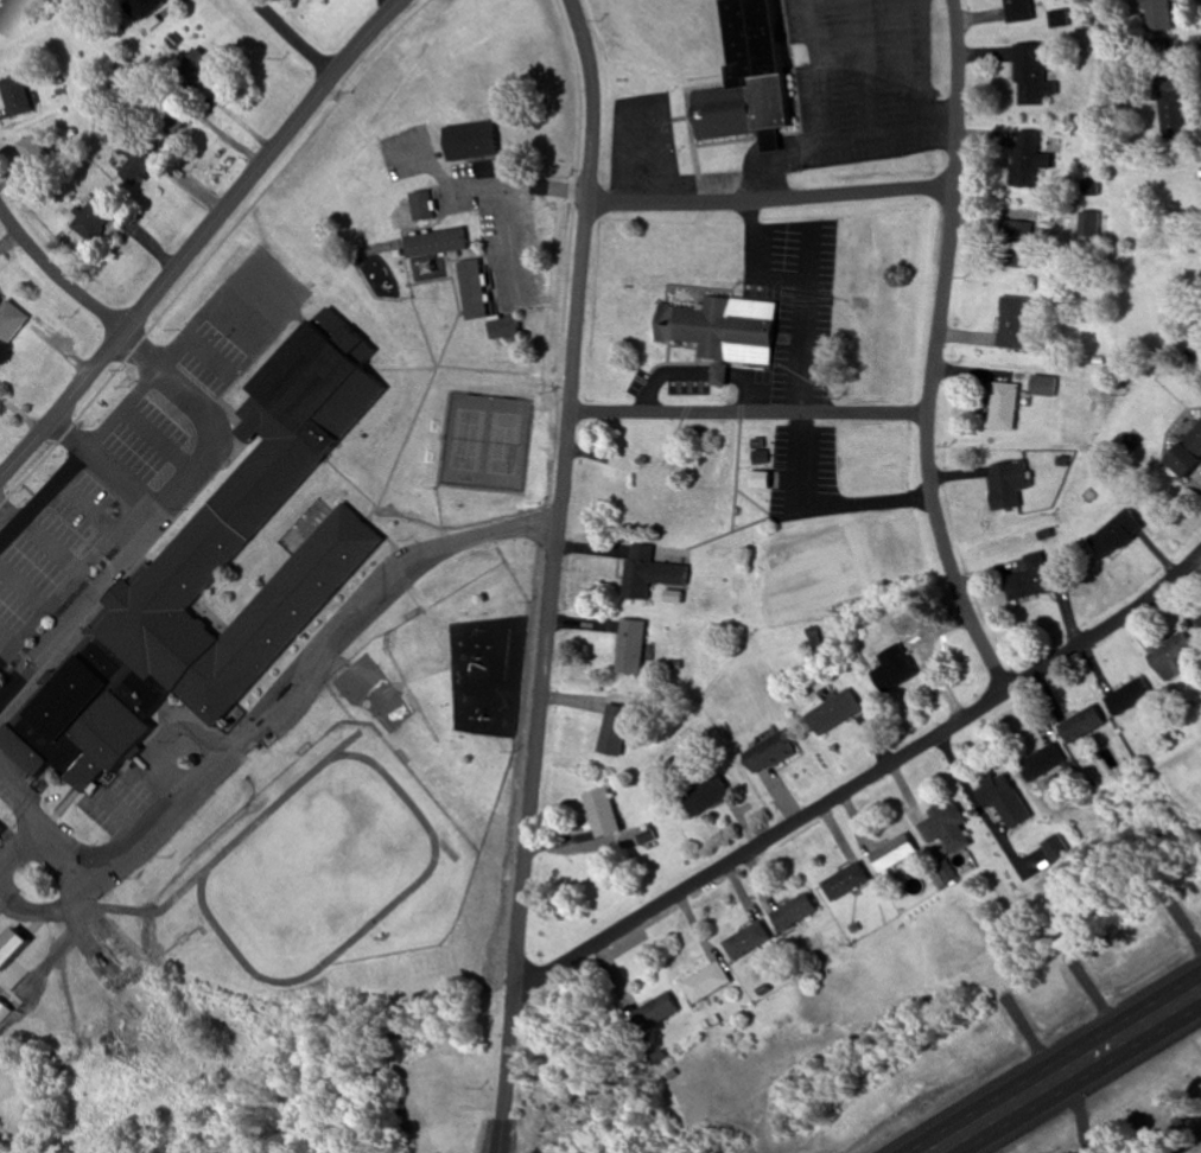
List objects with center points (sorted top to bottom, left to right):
building: (140, 8)
building: (1018, 11)
building: (1159, 15)
building: (1057, 19)
road: (292, 38)
road: (862, 57)
road: (913, 63)
road: (860, 68)
building: (196, 70)
road: (814, 71)
building: (1032, 76)
building: (746, 77)
building: (12, 96)
road: (636, 104)
building: (1173, 106)
building: (469, 141)
road: (838, 141)
road: (756, 146)
building: (31, 153)
building: (1027, 160)
building: (135, 163)
building: (1186, 192)
road: (769, 202)
building: (420, 206)
building: (90, 219)
building: (1087, 225)
road: (199, 235)
building: (433, 244)
building: (1013, 246)
road: (750, 266)
road: (56, 273)
building: (471, 291)
road: (202, 314)
road: (802, 317)
building: (9, 323)
building: (1011, 324)
building: (723, 327)
building: (502, 329)
road: (932, 353)
road: (695, 374)
building: (1002, 407)
road: (746, 413)
building: (297, 415)
road: (201, 418)
road: (64, 434)
parking lot: (135, 434)
road: (155, 441)
park: (483, 441)
building: (1188, 454)
road: (802, 460)
road: (119, 483)
building: (1006, 485)
building: (647, 492)
road: (40, 493)
road: (864, 501)
road: (84, 504)
road: (5, 522)
building: (1116, 534)
road: (49, 543)
building: (648, 573)
road: (549, 574)
road: (70, 579)
building: (1035, 579)
road: (21, 590)
road: (78, 606)
building: (152, 619)
building: (1199, 620)
road: (5, 639)
building: (629, 648)
building: (1169, 657)
building: (892, 670)
building: (1127, 697)
building: (833, 713)
building: (94, 715)
building: (1080, 725)
road: (256, 728)
building: (612, 732)
building: (23, 752)
building: (768, 754)
building: (1041, 763)
road: (863, 781)
building: (704, 797)
building: (1002, 801)
building: (600, 814)
building: (945, 828)
building: (0, 830)
building: (0, 833)
road: (20, 846)
building: (1055, 849)
track: (220, 853)
building: (892, 854)
building: (845, 883)
road: (33, 906)
road: (115, 909)
building: (794, 913)
building: (749, 942)
building: (11, 949)
road: (53, 954)
building: (103, 969)
building: (707, 982)
building: (653, 1014)
road: (1069, 1072)

